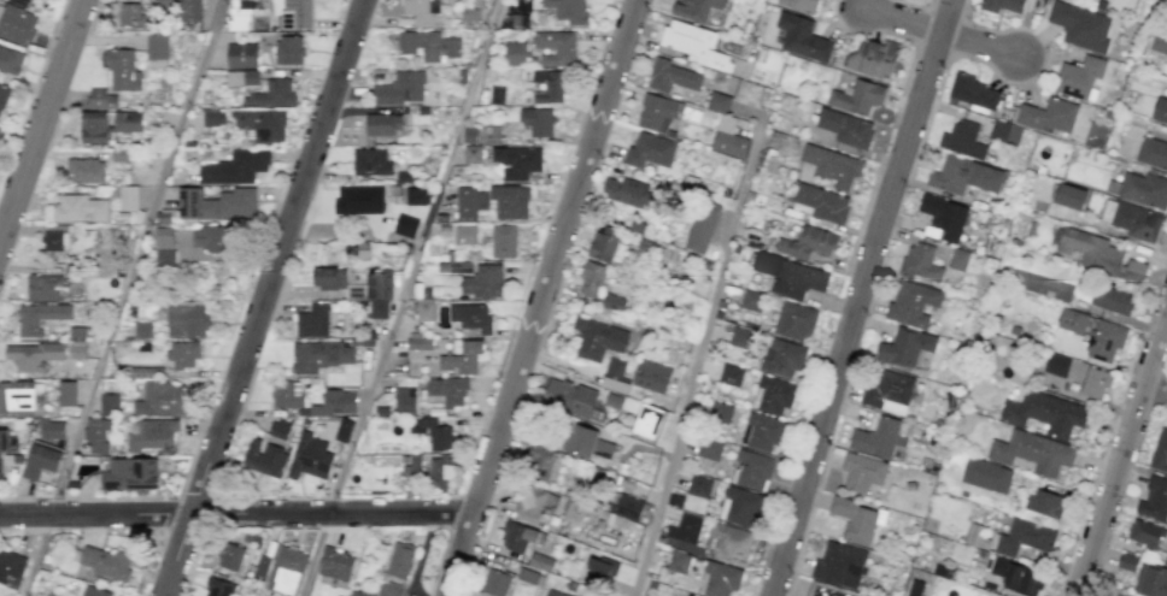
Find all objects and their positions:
building: (25, 2)
building: (799, 5)
building: (1007, 5)
building: (696, 8)
building: (568, 10)
building: (189, 11)
building: (421, 11)
building: (294, 13)
building: (469, 13)
building: (240, 14)
building: (131, 16)
building: (14, 24)
building: (1080, 25)
road: (942, 34)
building: (802, 37)
building: (1159, 42)
building: (427, 45)
building: (696, 45)
building: (156, 46)
building: (556, 46)
building: (288, 49)
building: (514, 53)
building: (241, 54)
building: (873, 58)
building: (10, 60)
building: (122, 70)
building: (1079, 76)
building: (241, 77)
building: (672, 77)
building: (547, 85)
building: (400, 88)
building: (972, 90)
building: (271, 94)
building: (495, 95)
building: (857, 96)
building: (100, 99)
building: (717, 102)
building: (1160, 110)
building: (657, 112)
building: (1048, 116)
building: (212, 117)
road: (42, 120)
building: (536, 120)
building: (128, 122)
building: (382, 123)
building: (94, 126)
building: (845, 128)
building: (727, 137)
building: (962, 140)
building: (650, 151)
building: (1153, 152)
building: (471, 153)
building: (370, 161)
building: (516, 161)
building: (828, 166)
building: (235, 167)
building: (86, 170)
building: (964, 176)
building: (1144, 189)
building: (623, 191)
building: (415, 196)
building: (1069, 196)
building: (128, 197)
building: (359, 199)
building: (509, 201)
building: (820, 202)
building: (469, 203)
building: (212, 205)
building: (78, 208)
building: (943, 217)
building: (1131, 219)
building: (405, 225)
building: (700, 226)
building: (464, 234)
building: (213, 238)
building: (54, 240)
building: (503, 241)
building: (603, 243)
building: (807, 243)
building: (164, 247)
building: (1099, 254)
building: (957, 259)
building: (920, 262)
building: (461, 266)
building: (790, 276)
building: (591, 278)
building: (482, 282)
building: (1040, 285)
building: (43, 288)
building: (358, 289)
road: (858, 296)
road: (123, 297)
road: (263, 297)
road: (401, 297)
road: (539, 297)
building: (1110, 299)
building: (750, 300)
building: (612, 302)
building: (911, 303)
building: (424, 311)
building: (470, 315)
building: (39, 317)
building: (187, 320)
building: (311, 320)
building: (793, 320)
building: (1072, 320)
building: (142, 329)
building: (740, 337)
building: (597, 338)
building: (1104, 340)
building: (416, 346)
building: (904, 347)
building: (77, 349)
building: (183, 354)
road: (698, 354)
building: (31, 355)
building: (318, 355)
building: (461, 358)
building: (781, 358)
building: (1056, 364)
building: (614, 374)
building: (729, 374)
building: (650, 376)
building: (1095, 383)
building: (887, 390)
road: (1156, 390)
building: (445, 391)
building: (66, 393)
building: (772, 394)
building: (286, 395)
building: (16, 396)
building: (568, 396)
building: (160, 399)
building: (404, 400)
building: (335, 402)
building: (109, 403)
building: (719, 412)
building: (1044, 413)
building: (646, 423)
building: (51, 429)
building: (277, 429)
building: (342, 429)
building: (762, 431)
building: (432, 432)
building: (151, 433)
building: (96, 435)
building: (878, 438)
building: (4, 439)
building: (586, 442)
building: (709, 449)
building: (1160, 450)
building: (1032, 452)
road: (1124, 455)
building: (309, 456)
building: (264, 458)
building: (41, 460)
building: (540, 462)
building: (0, 467)
building: (750, 470)
building: (440, 471)
building: (862, 471)
building: (129, 473)
building: (984, 477)
building: (698, 486)
building: (1154, 498)
building: (530, 501)
building: (1045, 502)
building: (740, 506)
building: (628, 507)
building: (571, 512)
road: (234, 514)
building: (855, 520)
building: (684, 529)
building: (1144, 533)
building: (520, 536)
building: (1010, 537)
building: (727, 541)
building: (229, 556)
building: (399, 559)
building: (1166, 560)
building: (540, 561)
building: (678, 561)
building: (1127, 561)
building: (106, 562)
building: (335, 563)
building: (995, 563)
building: (262, 565)
building: (839, 565)
building: (11, 567)
building: (599, 568)
building: (285, 570)
road: (1096, 572)
building: (529, 577)
building: (719, 579)
building: (1022, 579)
building: (1150, 580)
building: (494, 582)
building: (219, 588)
building: (389, 589)
building: (917, 589)
building: (94, 591)
building: (362, 592)
building: (552, 594)

